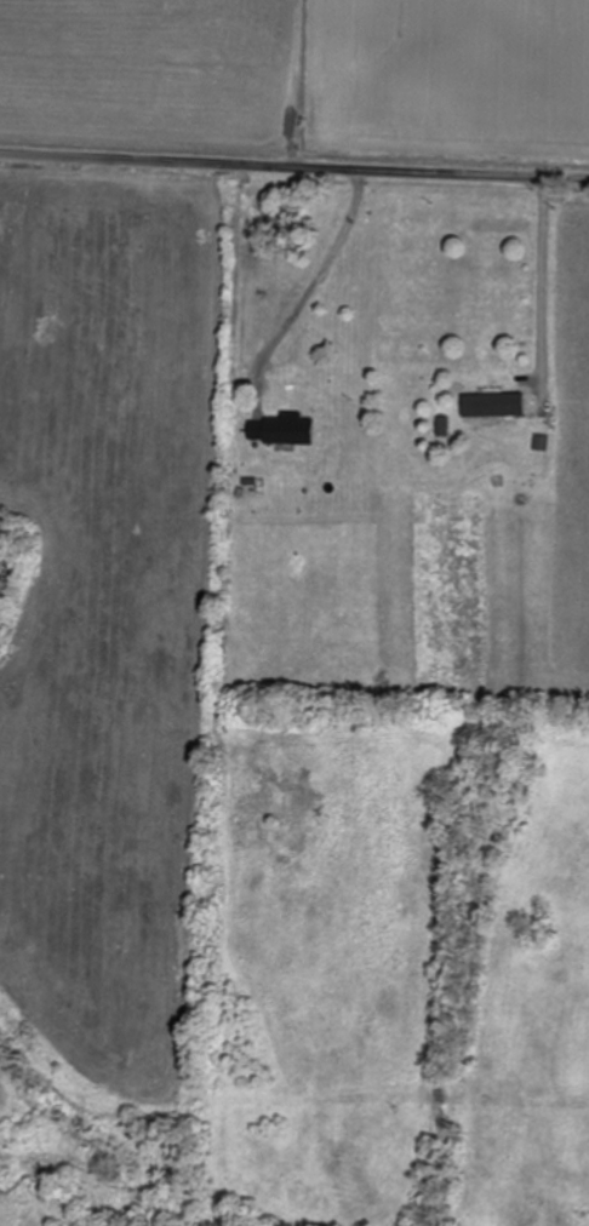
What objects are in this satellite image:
road: (293, 172)
building: (292, 389)
building: (496, 408)
building: (543, 409)

